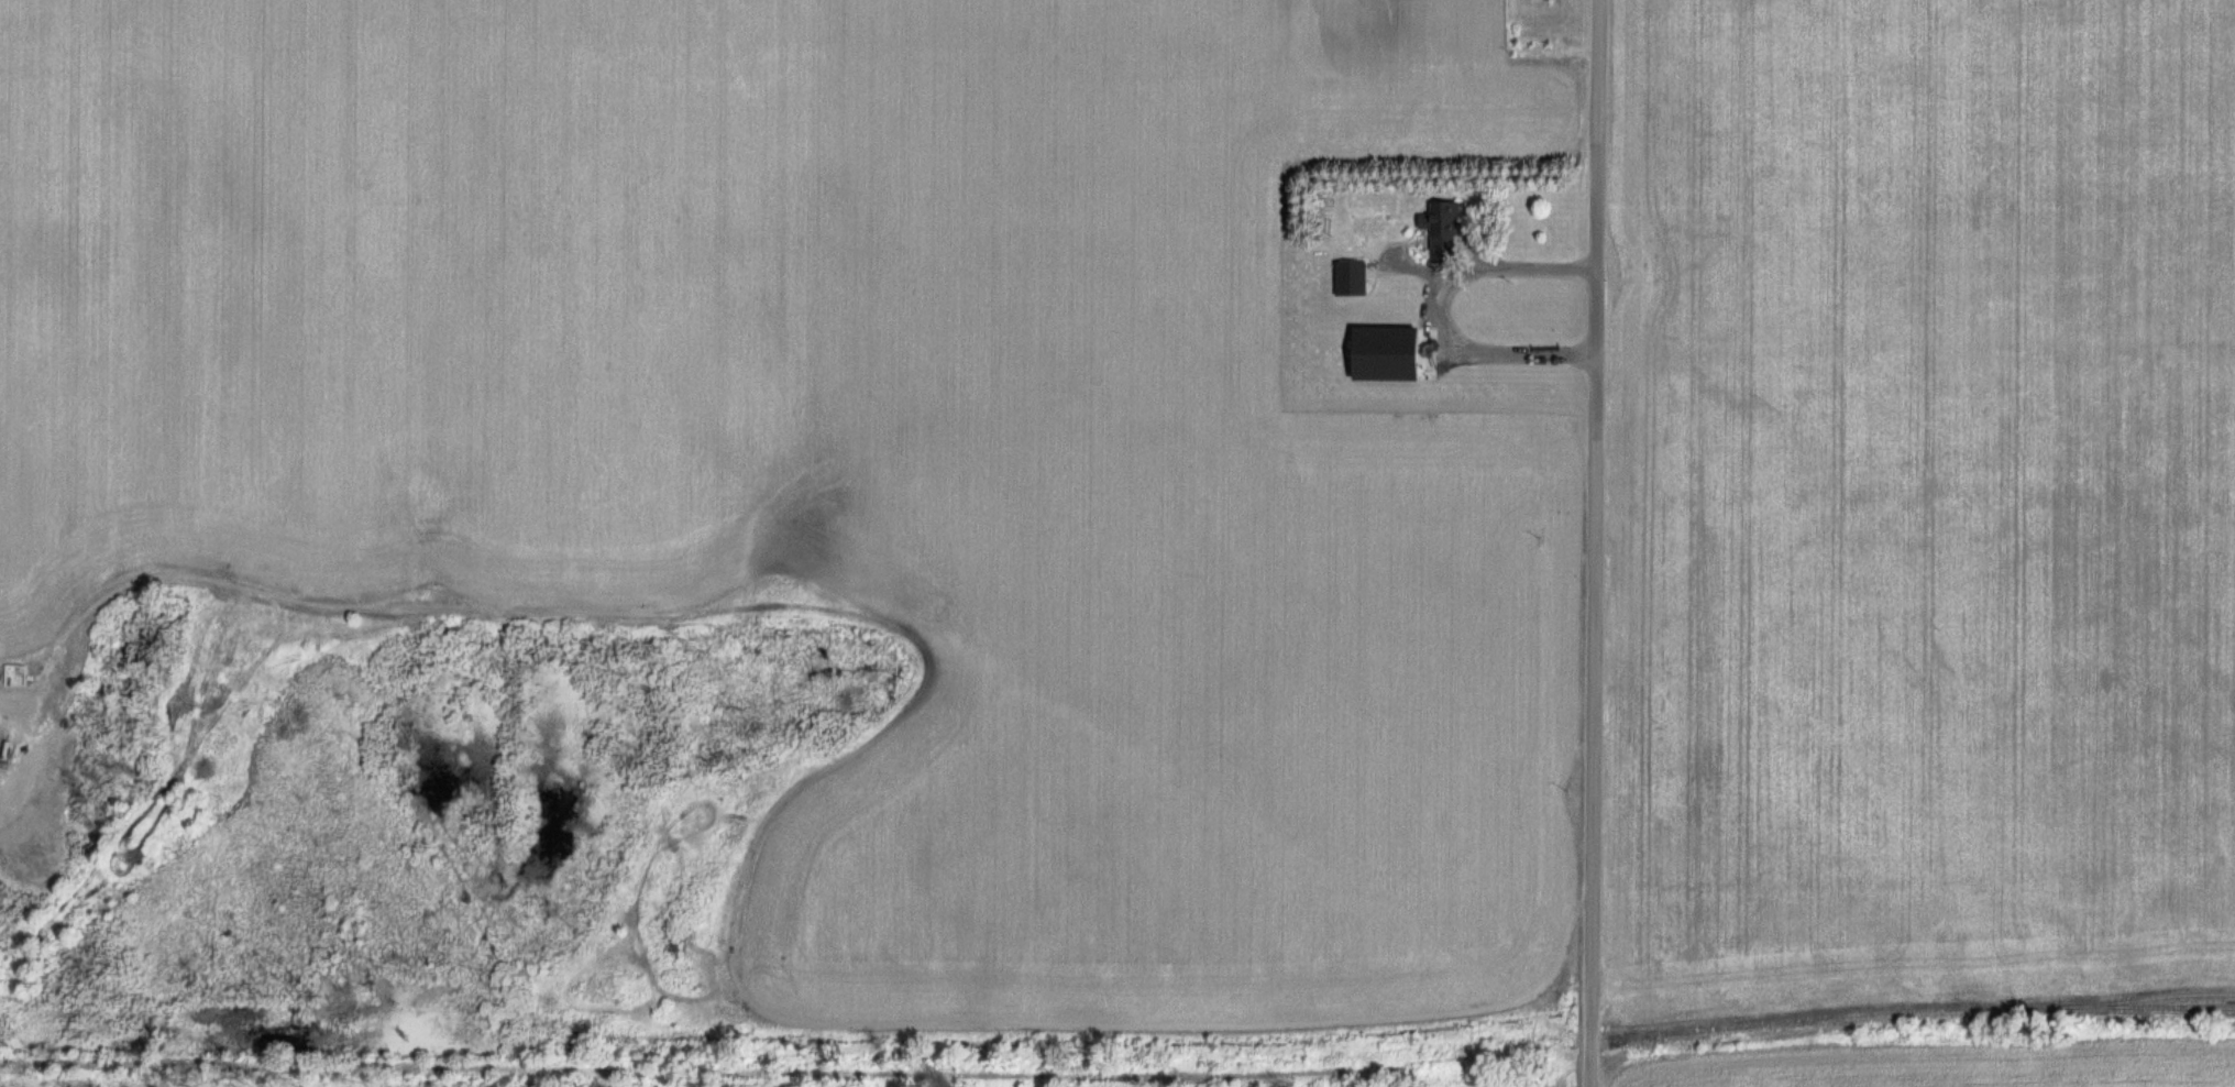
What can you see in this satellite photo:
building: (1445, 227)
road: (1487, 262)
building: (1353, 278)
road: (1594, 542)
railway: (2143, 998)
railway: (1704, 1031)
railway: (586, 1069)

